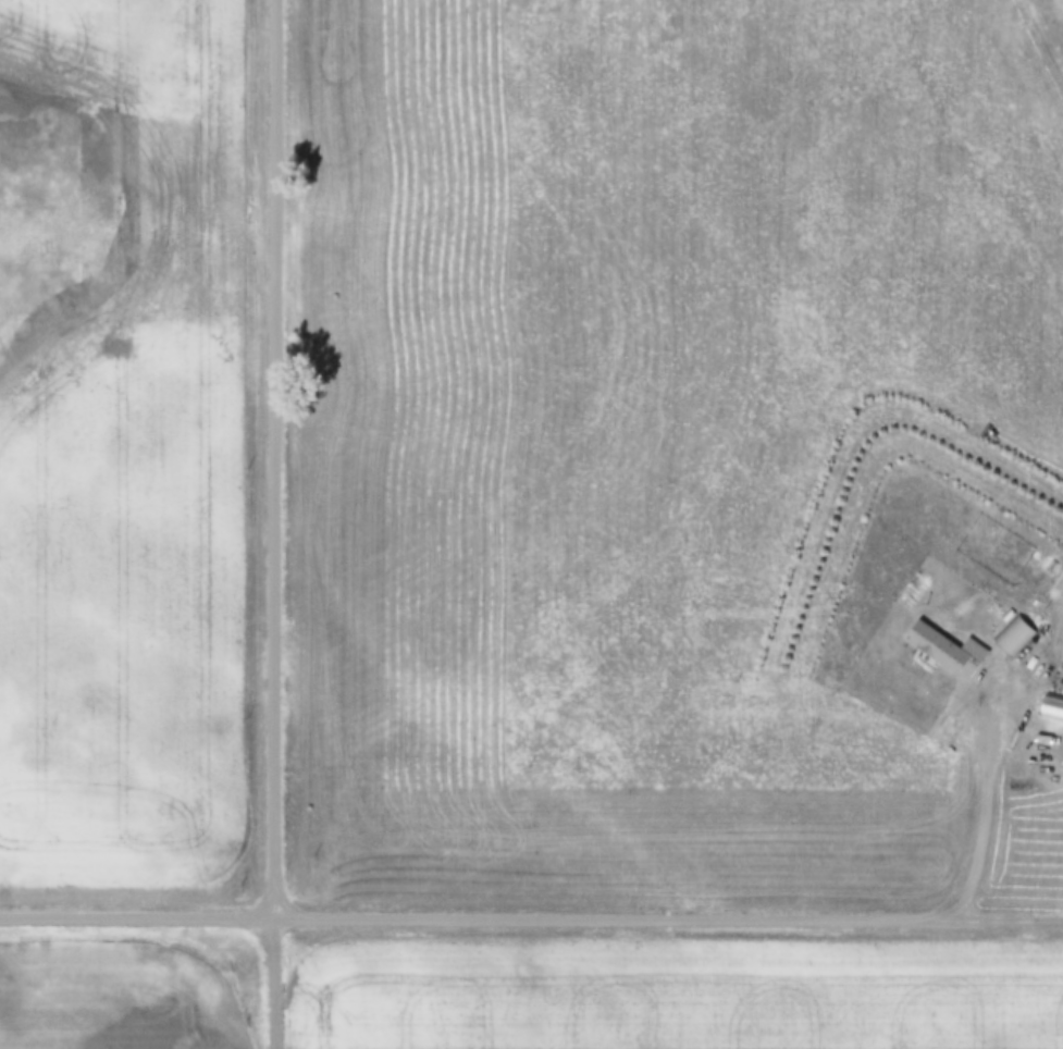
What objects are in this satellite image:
road: (276, 458)
building: (1017, 637)
building: (945, 651)
road: (138, 916)
road: (613, 921)
road: (1005, 924)
road: (276, 983)

